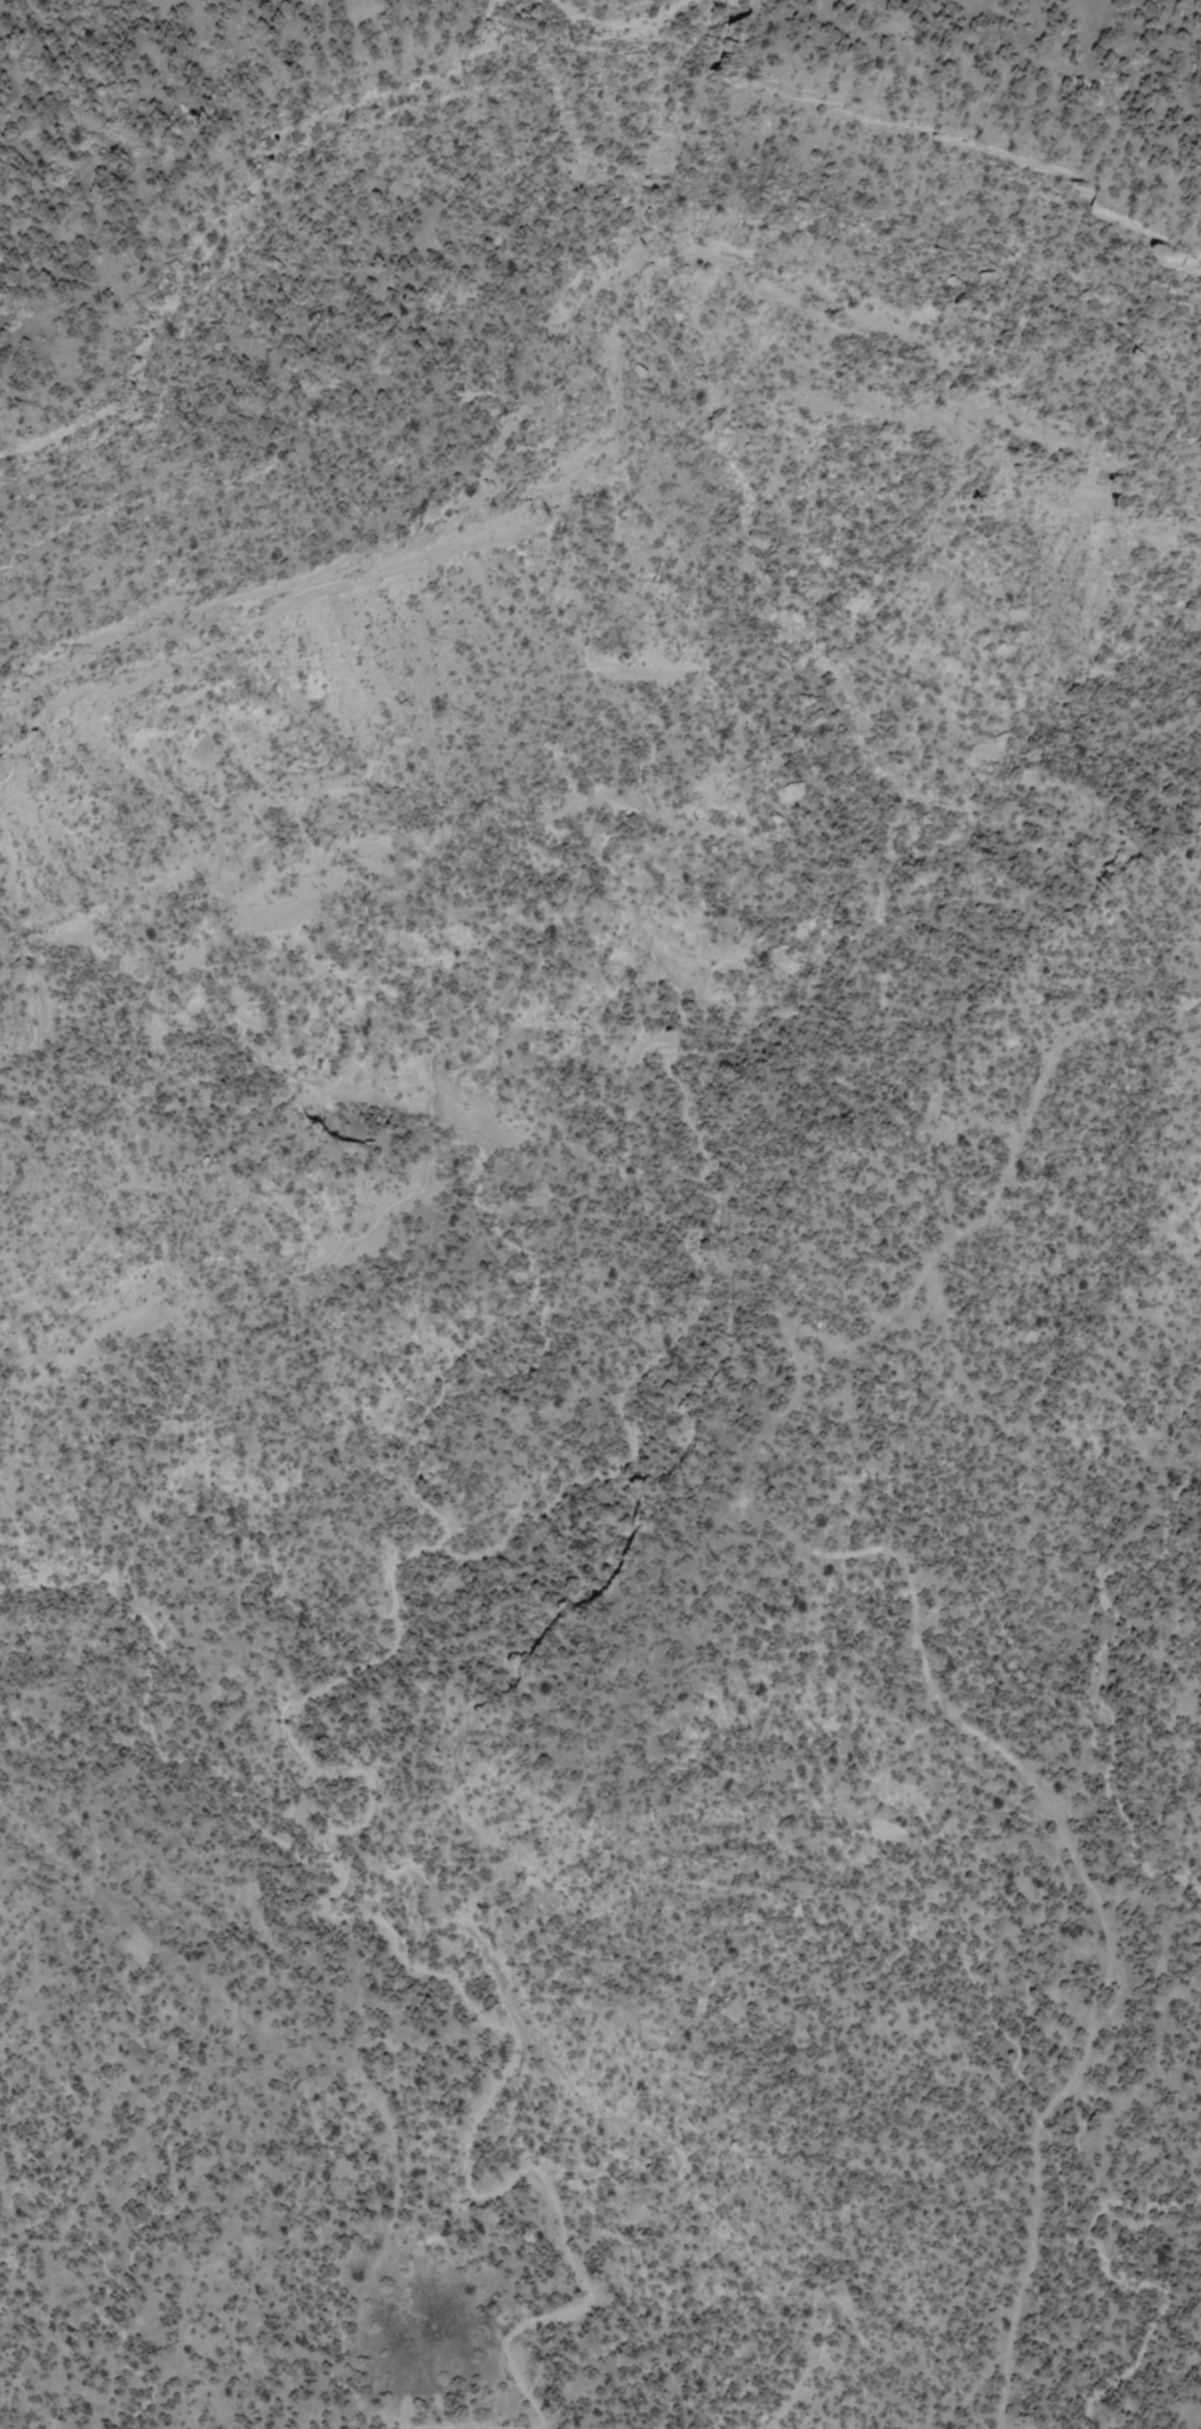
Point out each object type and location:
road: (838, 1647)
road: (281, 2093)

